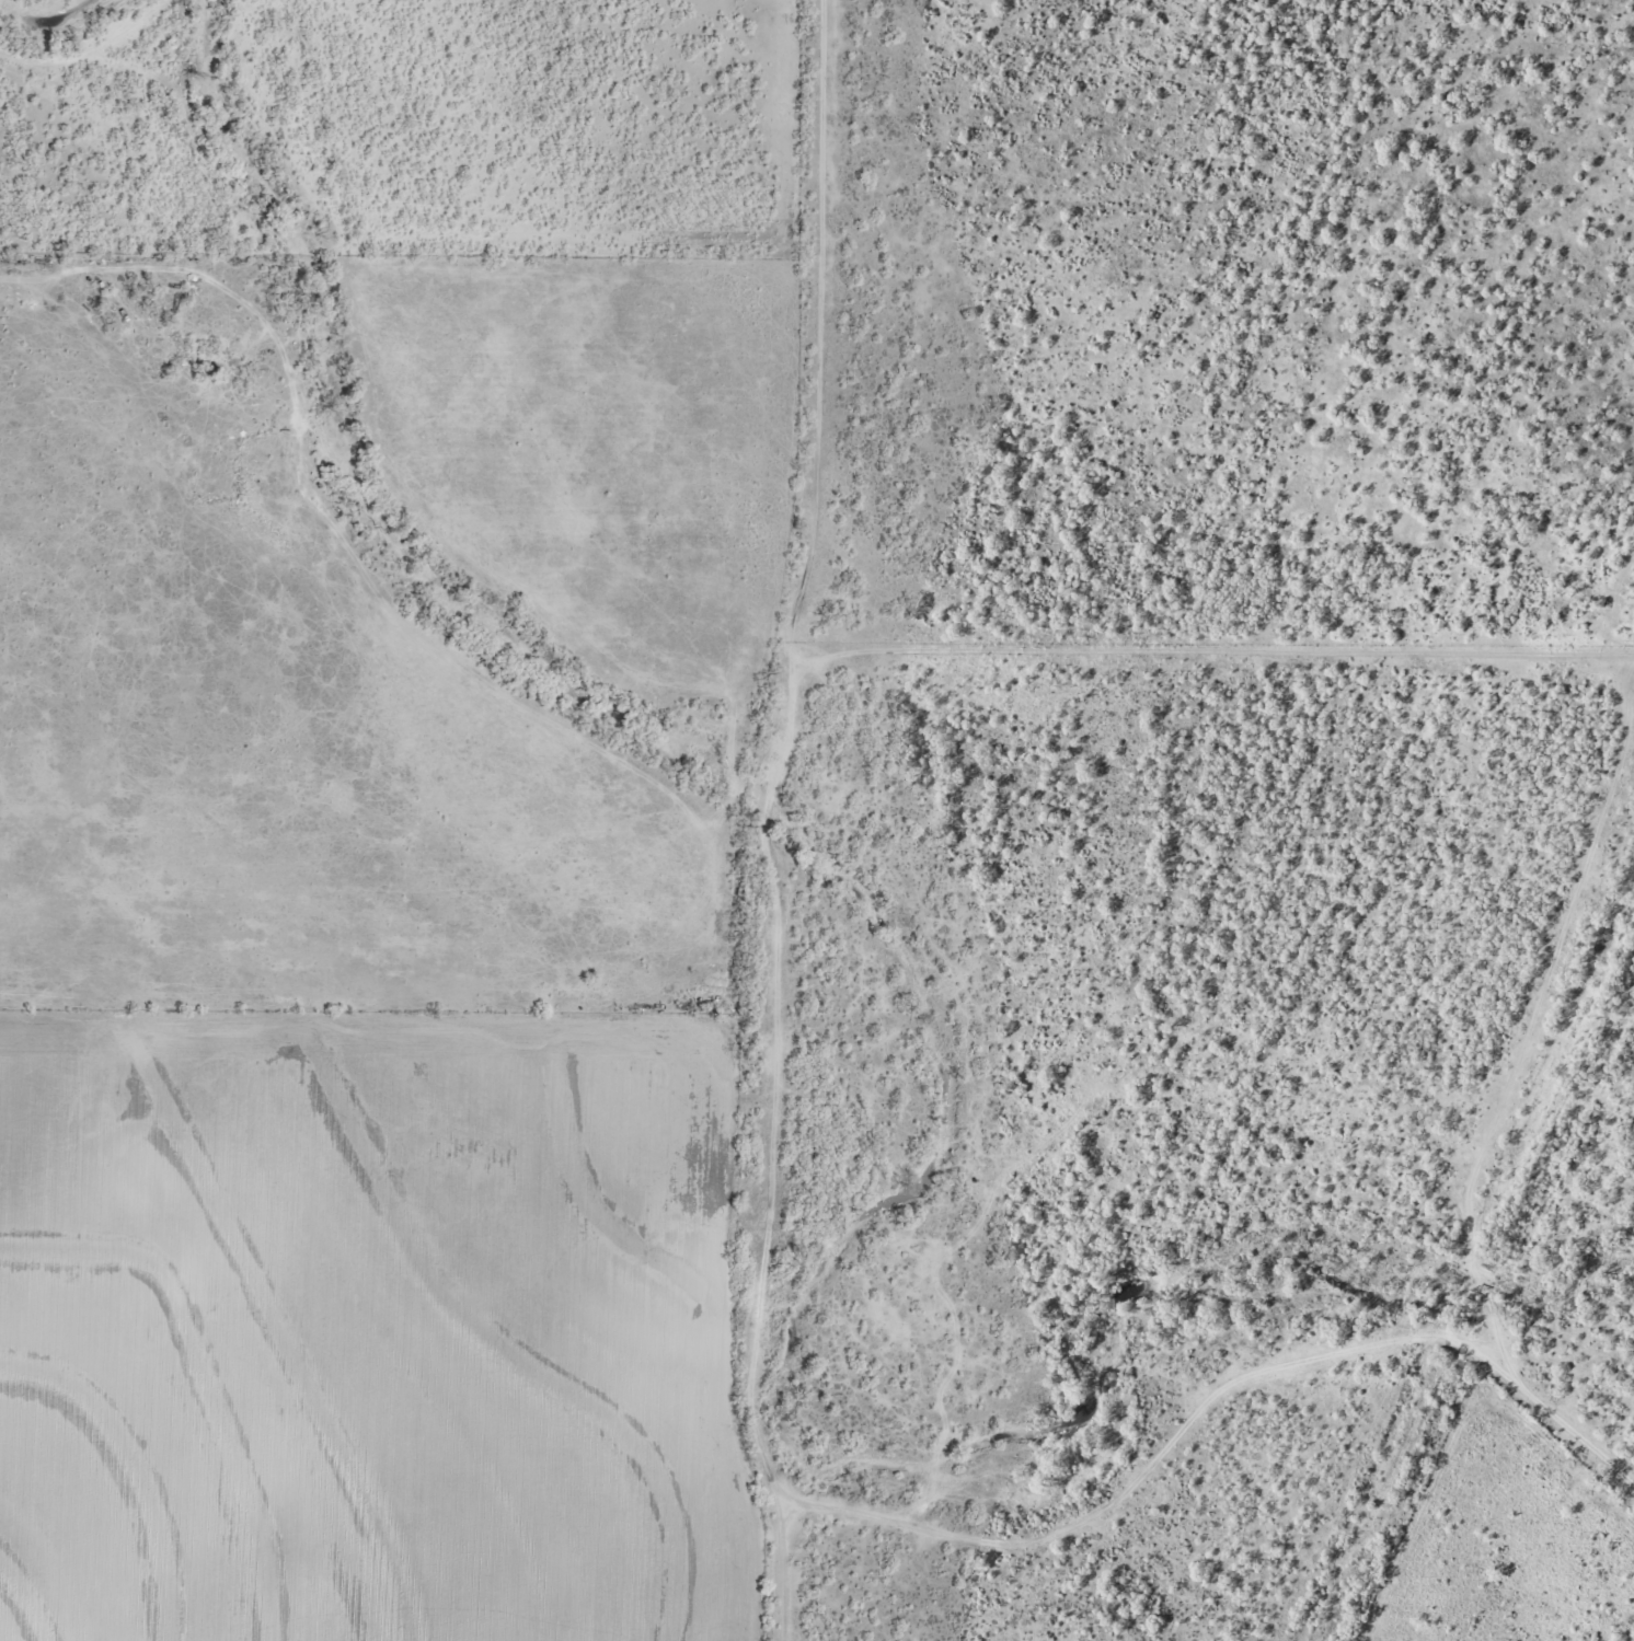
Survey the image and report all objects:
road: (768, 821)

